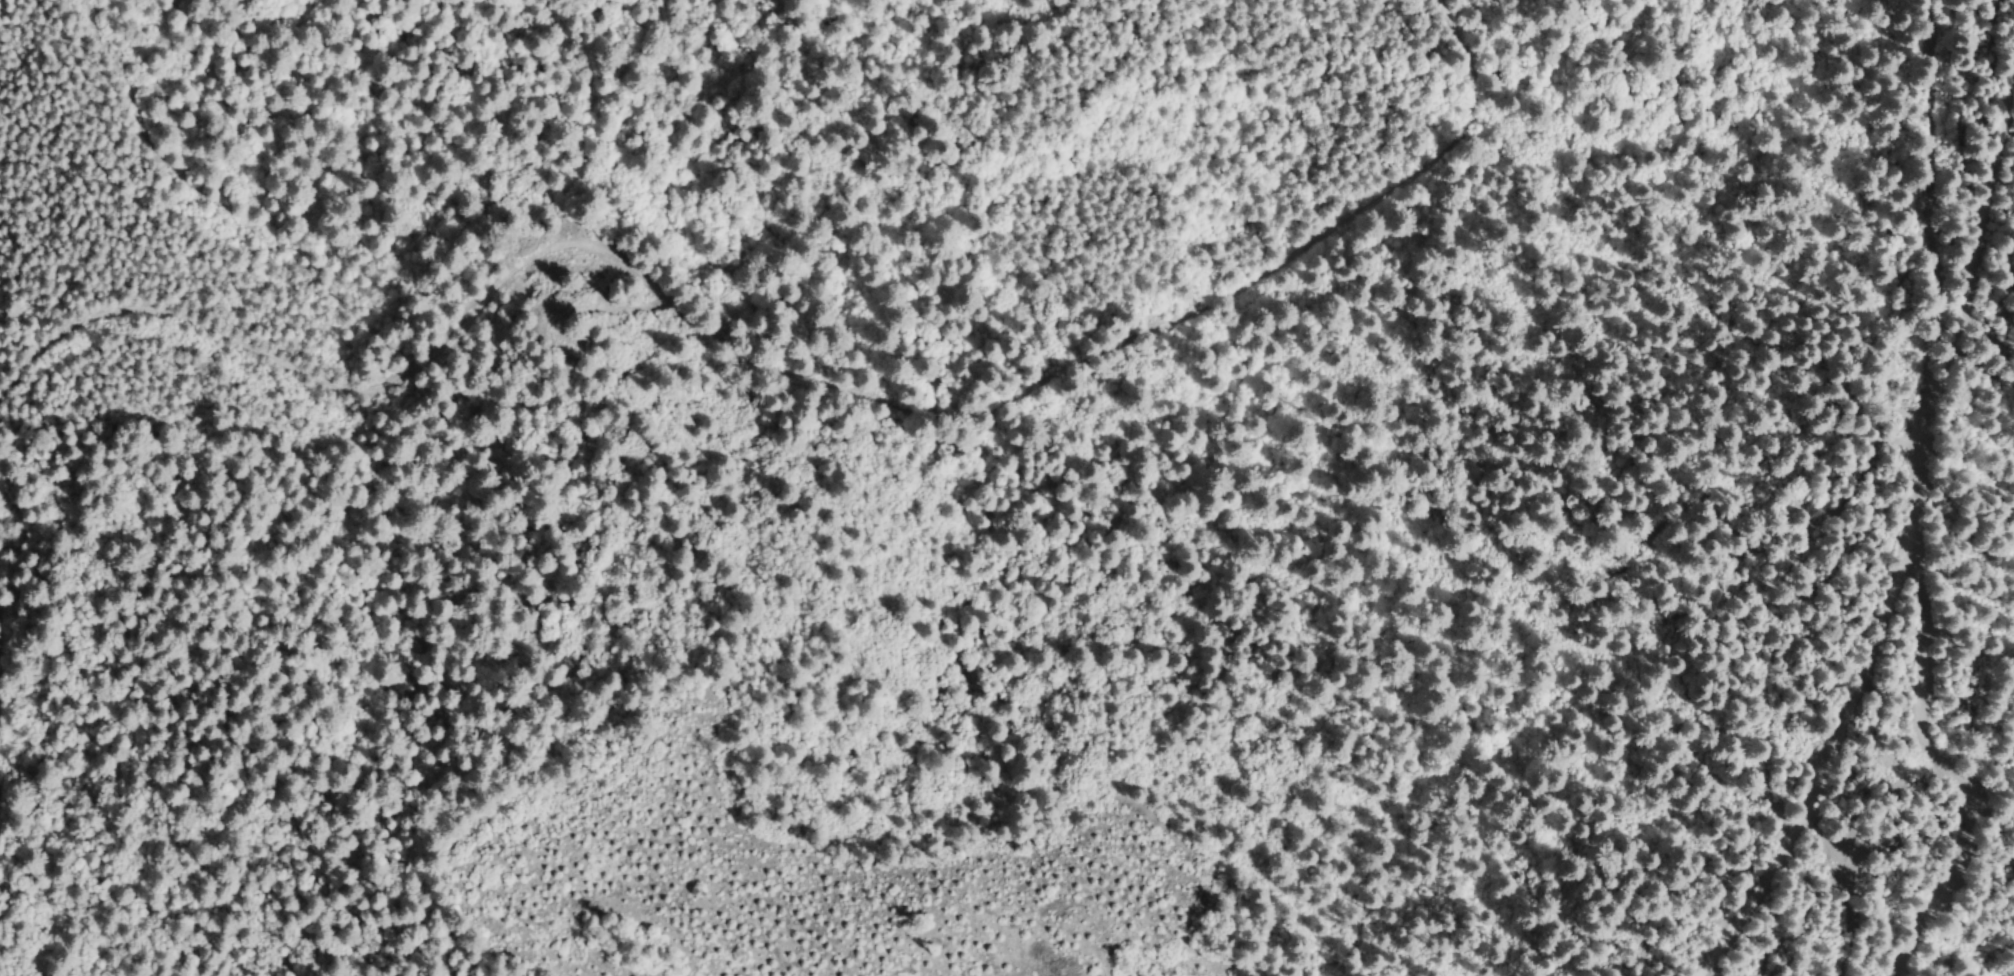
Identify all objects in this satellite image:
road: (773, 360)
road: (1903, 526)
road: (1941, 759)

